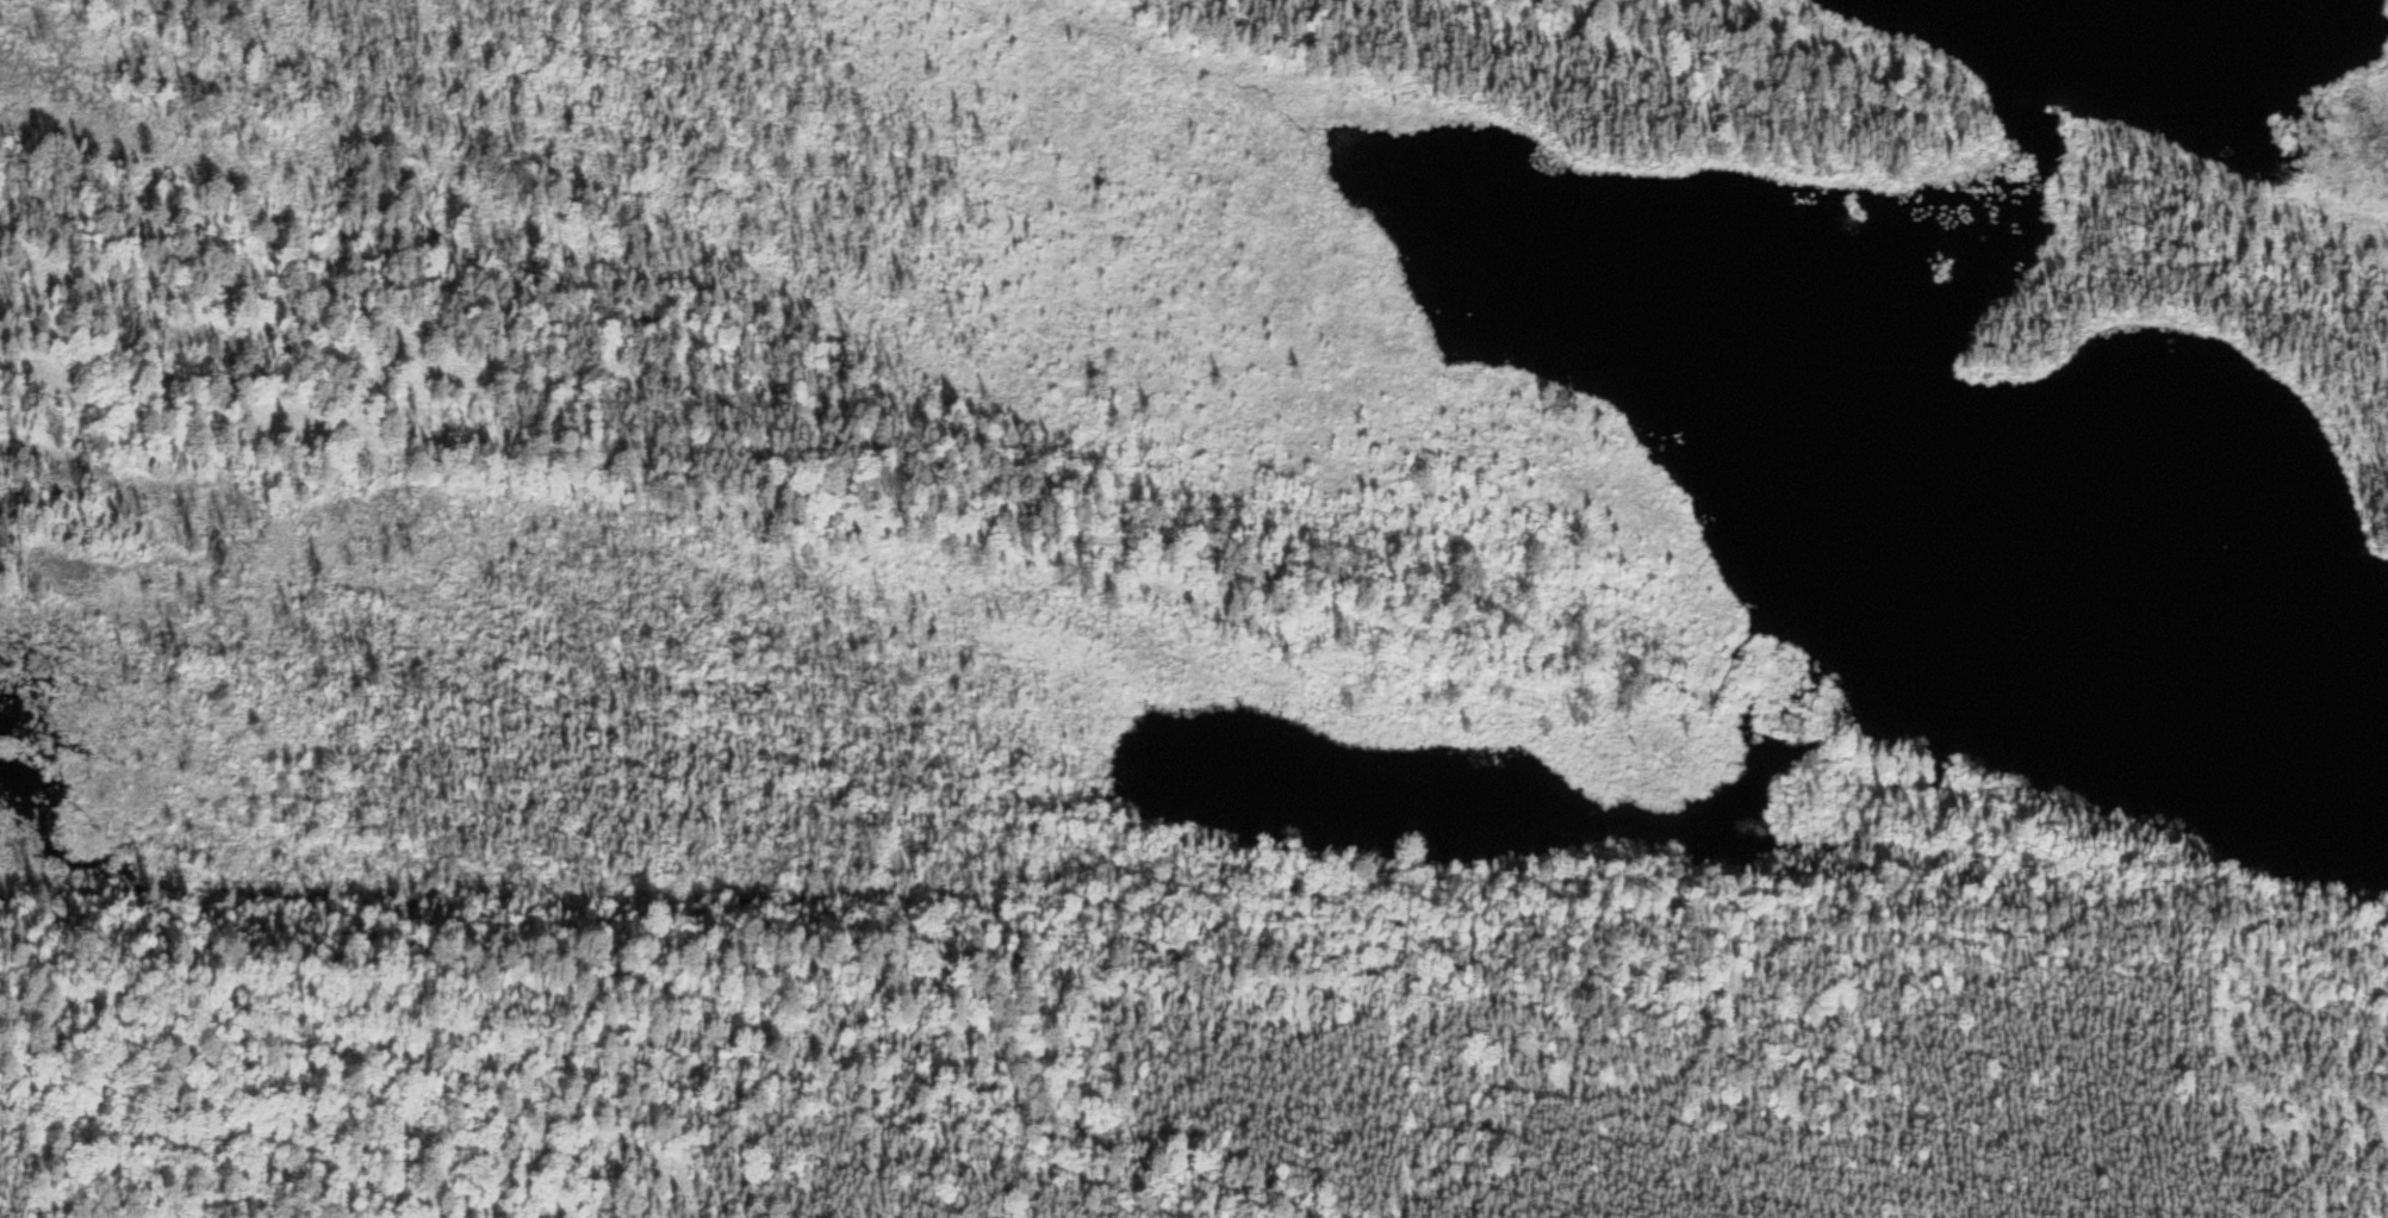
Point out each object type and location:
road: (841, 404)

